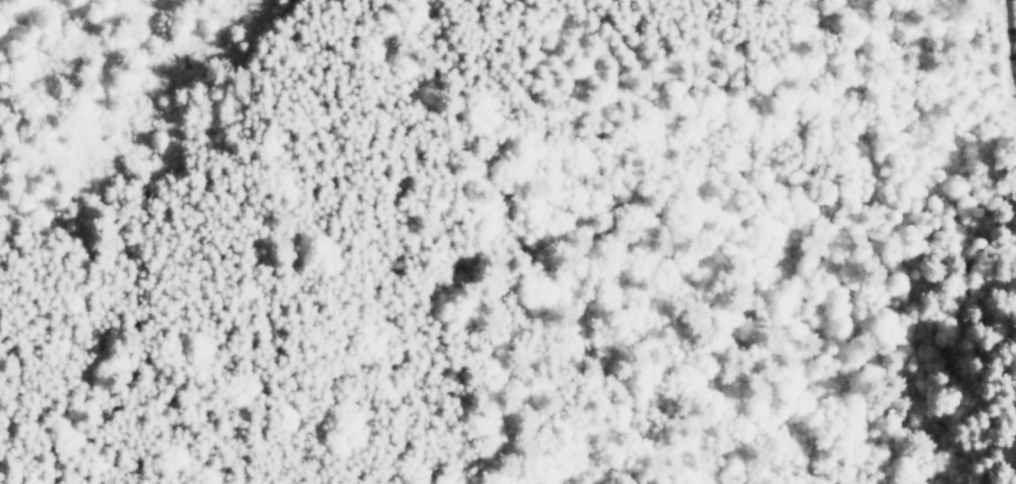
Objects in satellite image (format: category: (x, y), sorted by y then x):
road: (999, 48)

